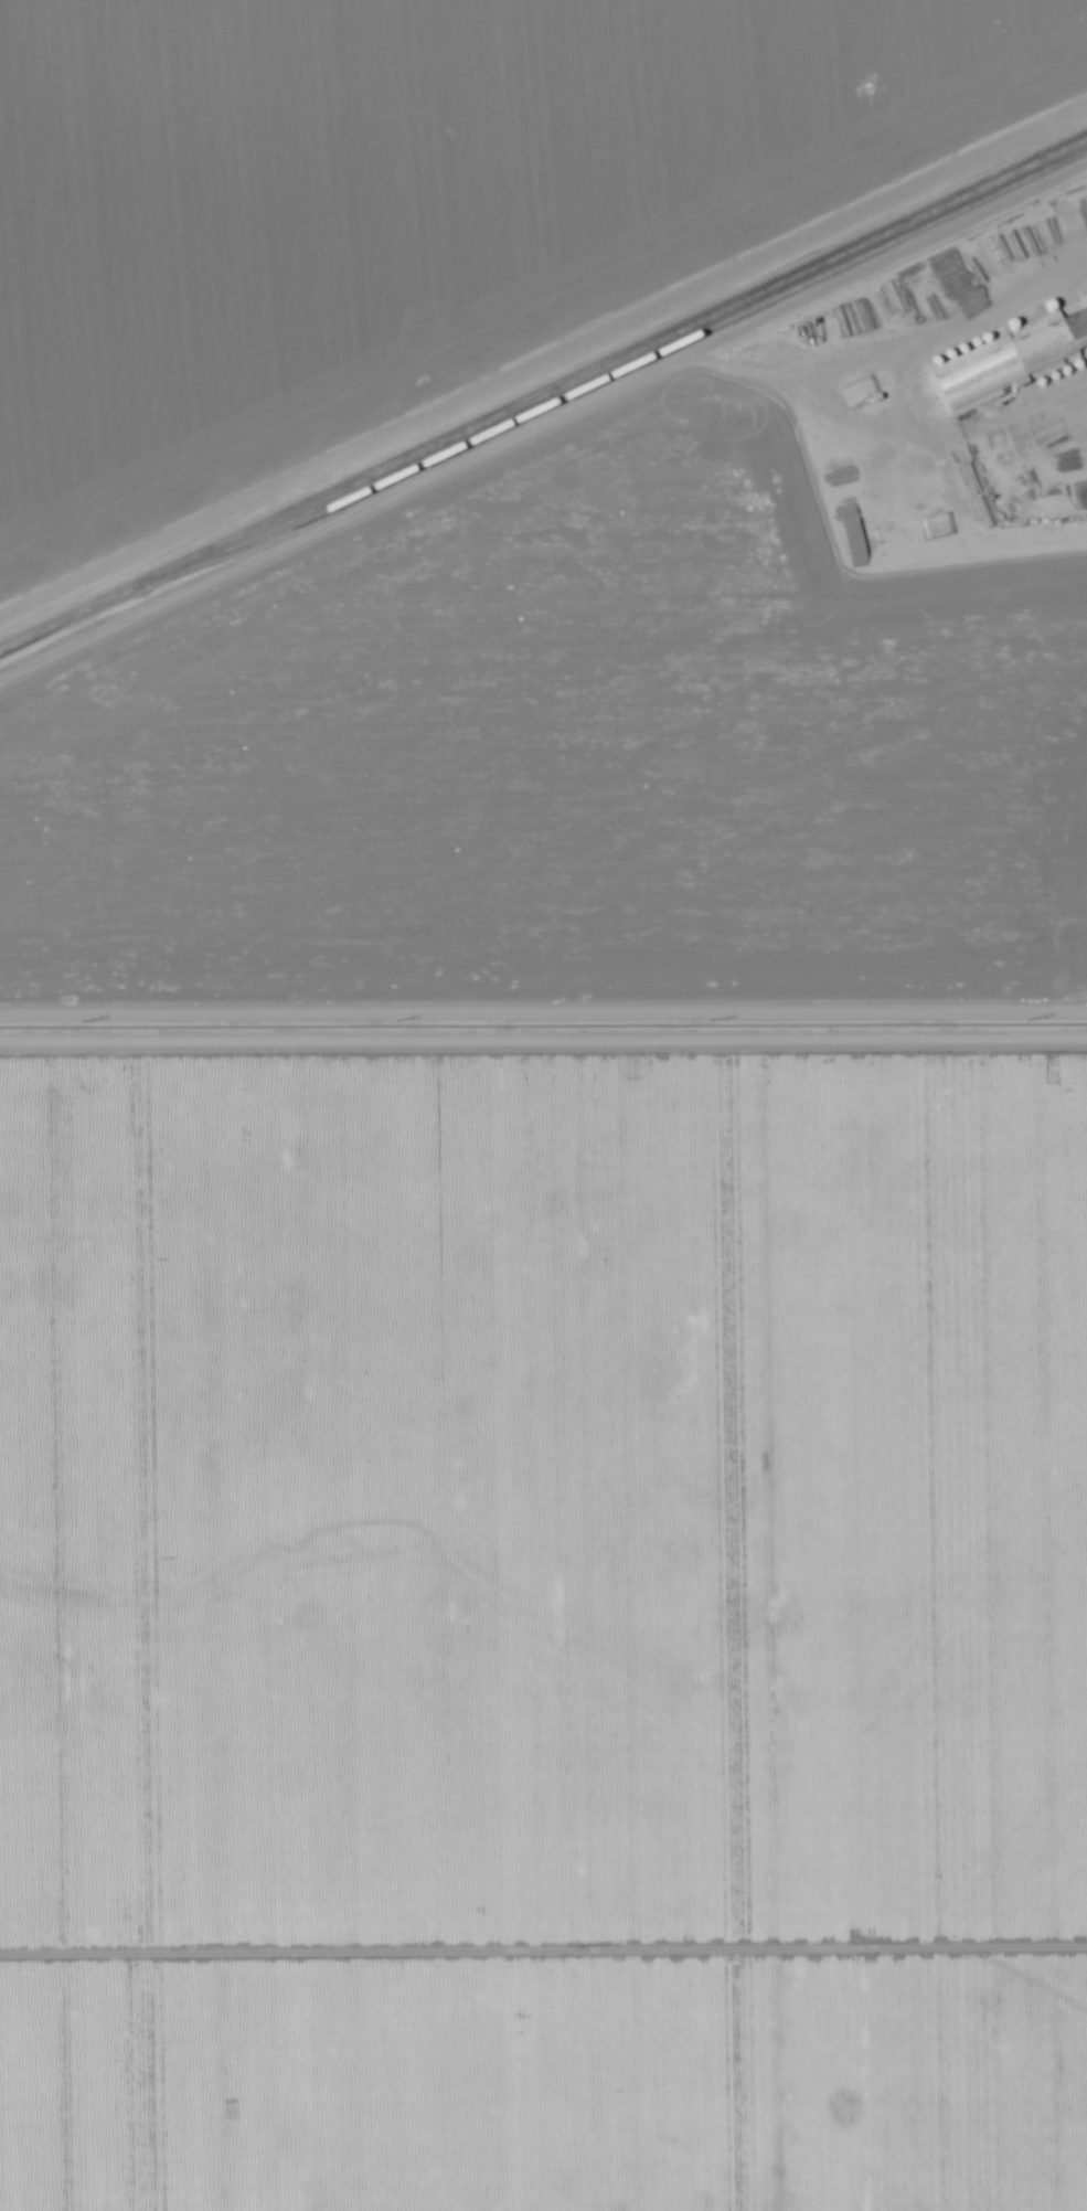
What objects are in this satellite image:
crop: (426, 211)
building: (1084, 306)
building: (1077, 329)
railway: (636, 364)
building: (1001, 365)
road: (543, 376)
railway: (543, 385)
railway: (543, 396)
crop: (624, 698)
road: (543, 1020)
crop: (544, 1623)

